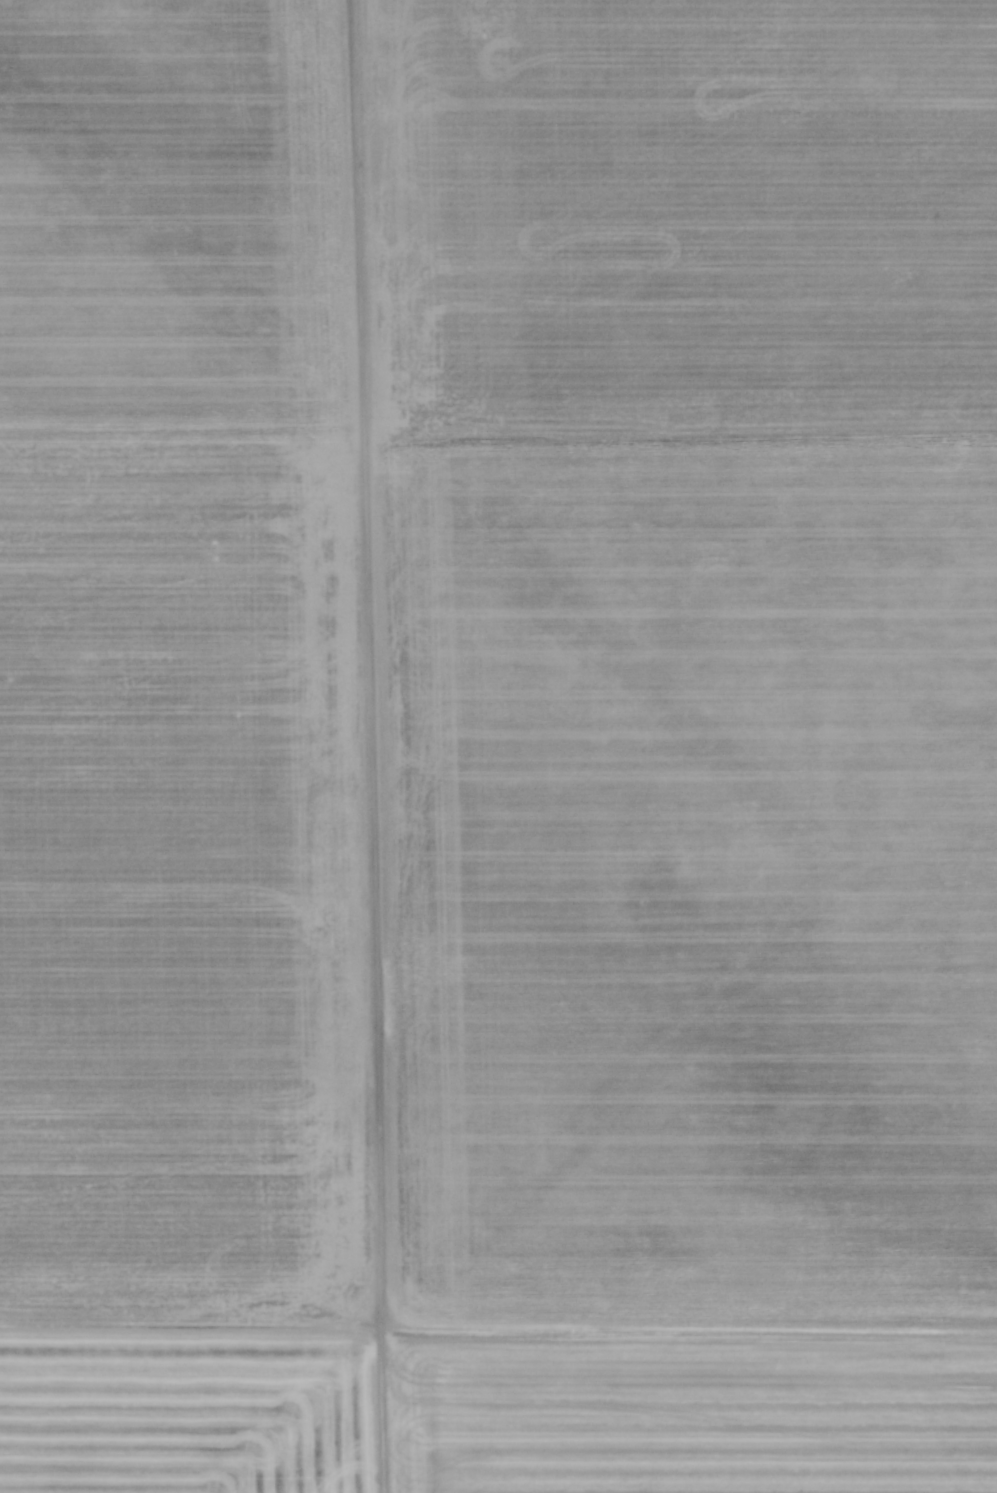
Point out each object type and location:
crop: (498, 746)

